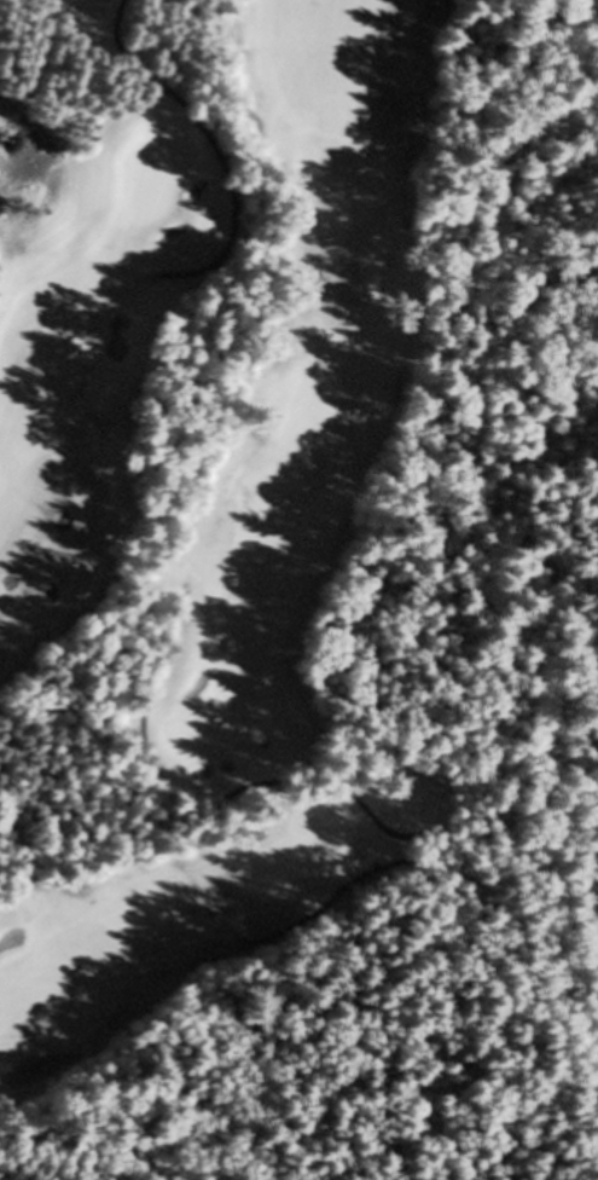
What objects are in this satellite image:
road: (284, 272)
park: (248, 527)
road: (405, 869)

